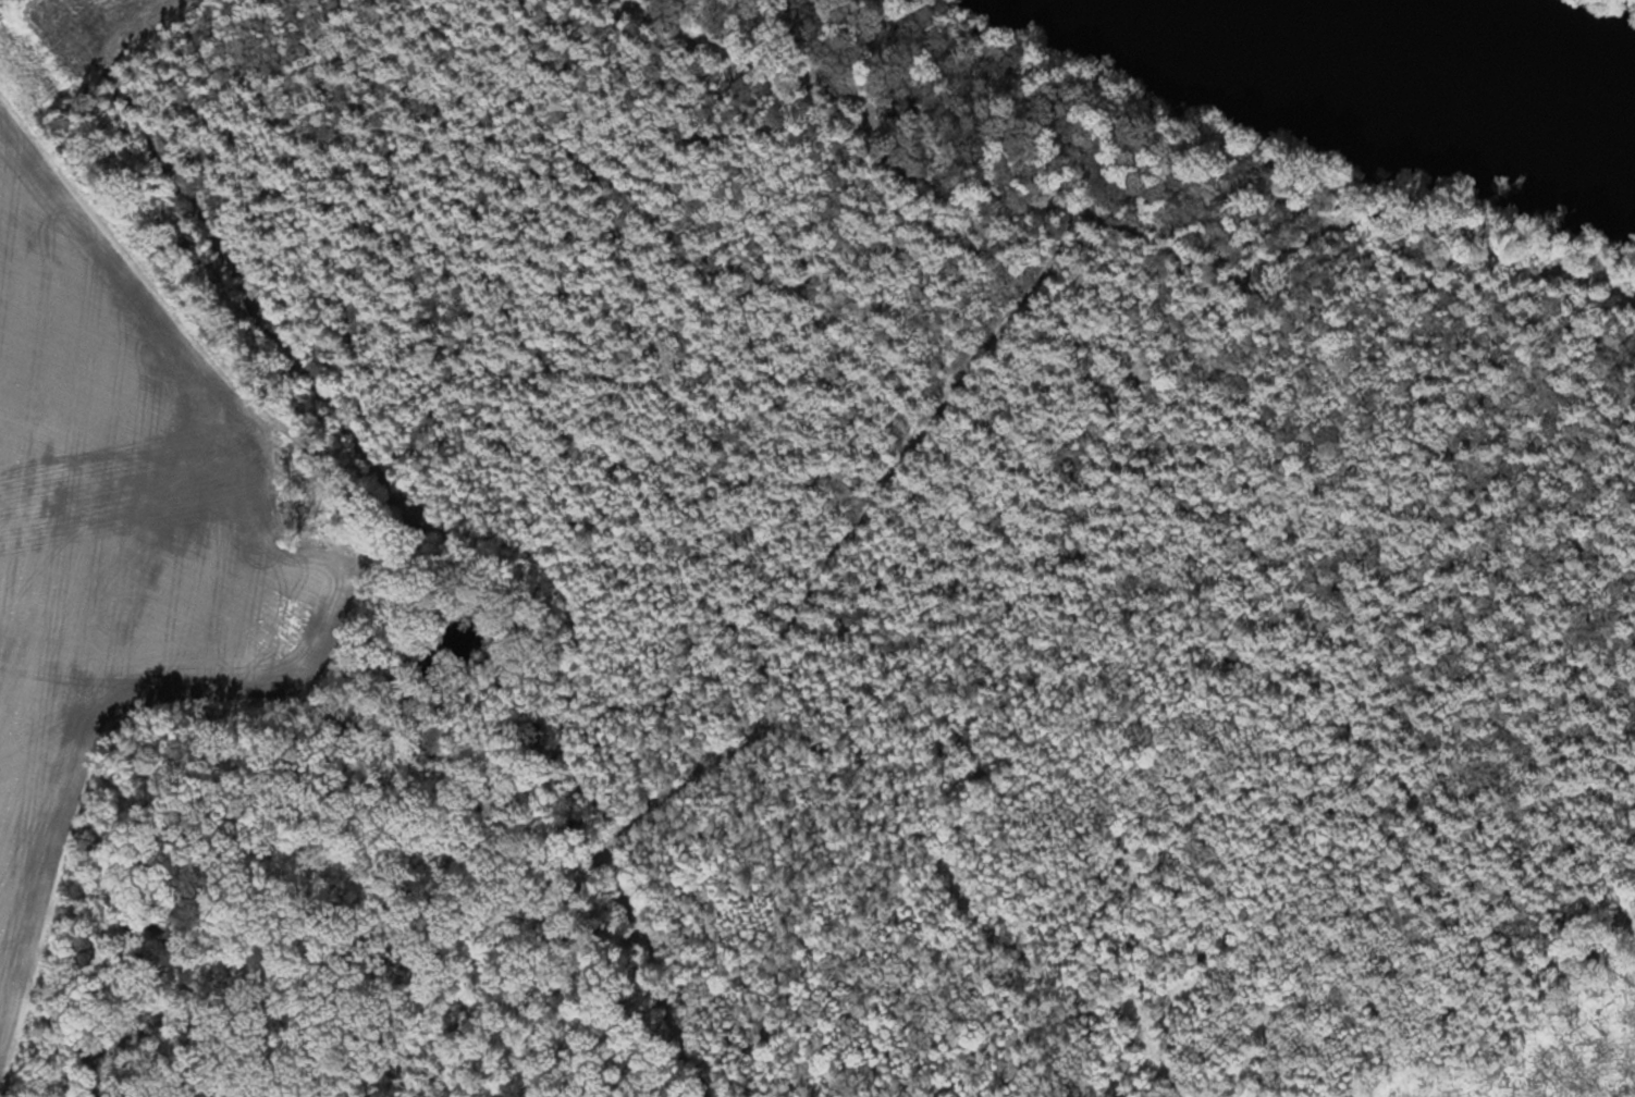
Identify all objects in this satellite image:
river: (1440, 56)

